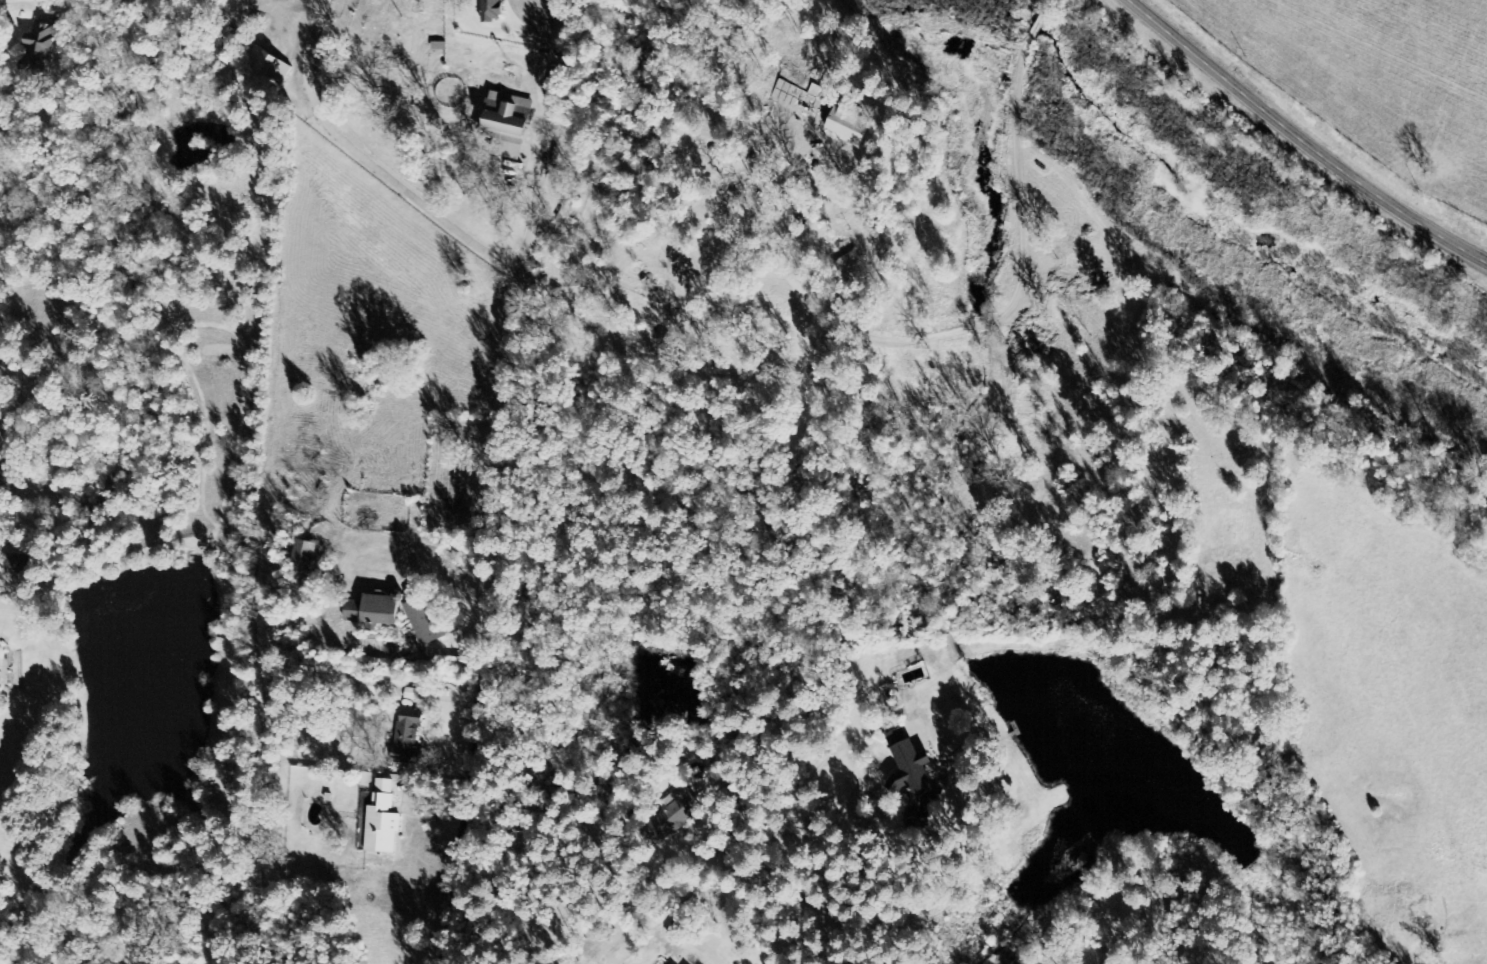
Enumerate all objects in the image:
building: (495, 10)
building: (40, 48)
road: (1200, 56)
building: (267, 66)
building: (844, 121)
building: (509, 124)
road: (1374, 195)
road: (448, 225)
building: (304, 558)
building: (22, 564)
building: (378, 612)
building: (426, 623)
building: (414, 694)
building: (411, 739)
building: (913, 769)
building: (681, 812)
building: (385, 821)
road: (466, 821)
building: (681, 932)
road: (713, 957)

